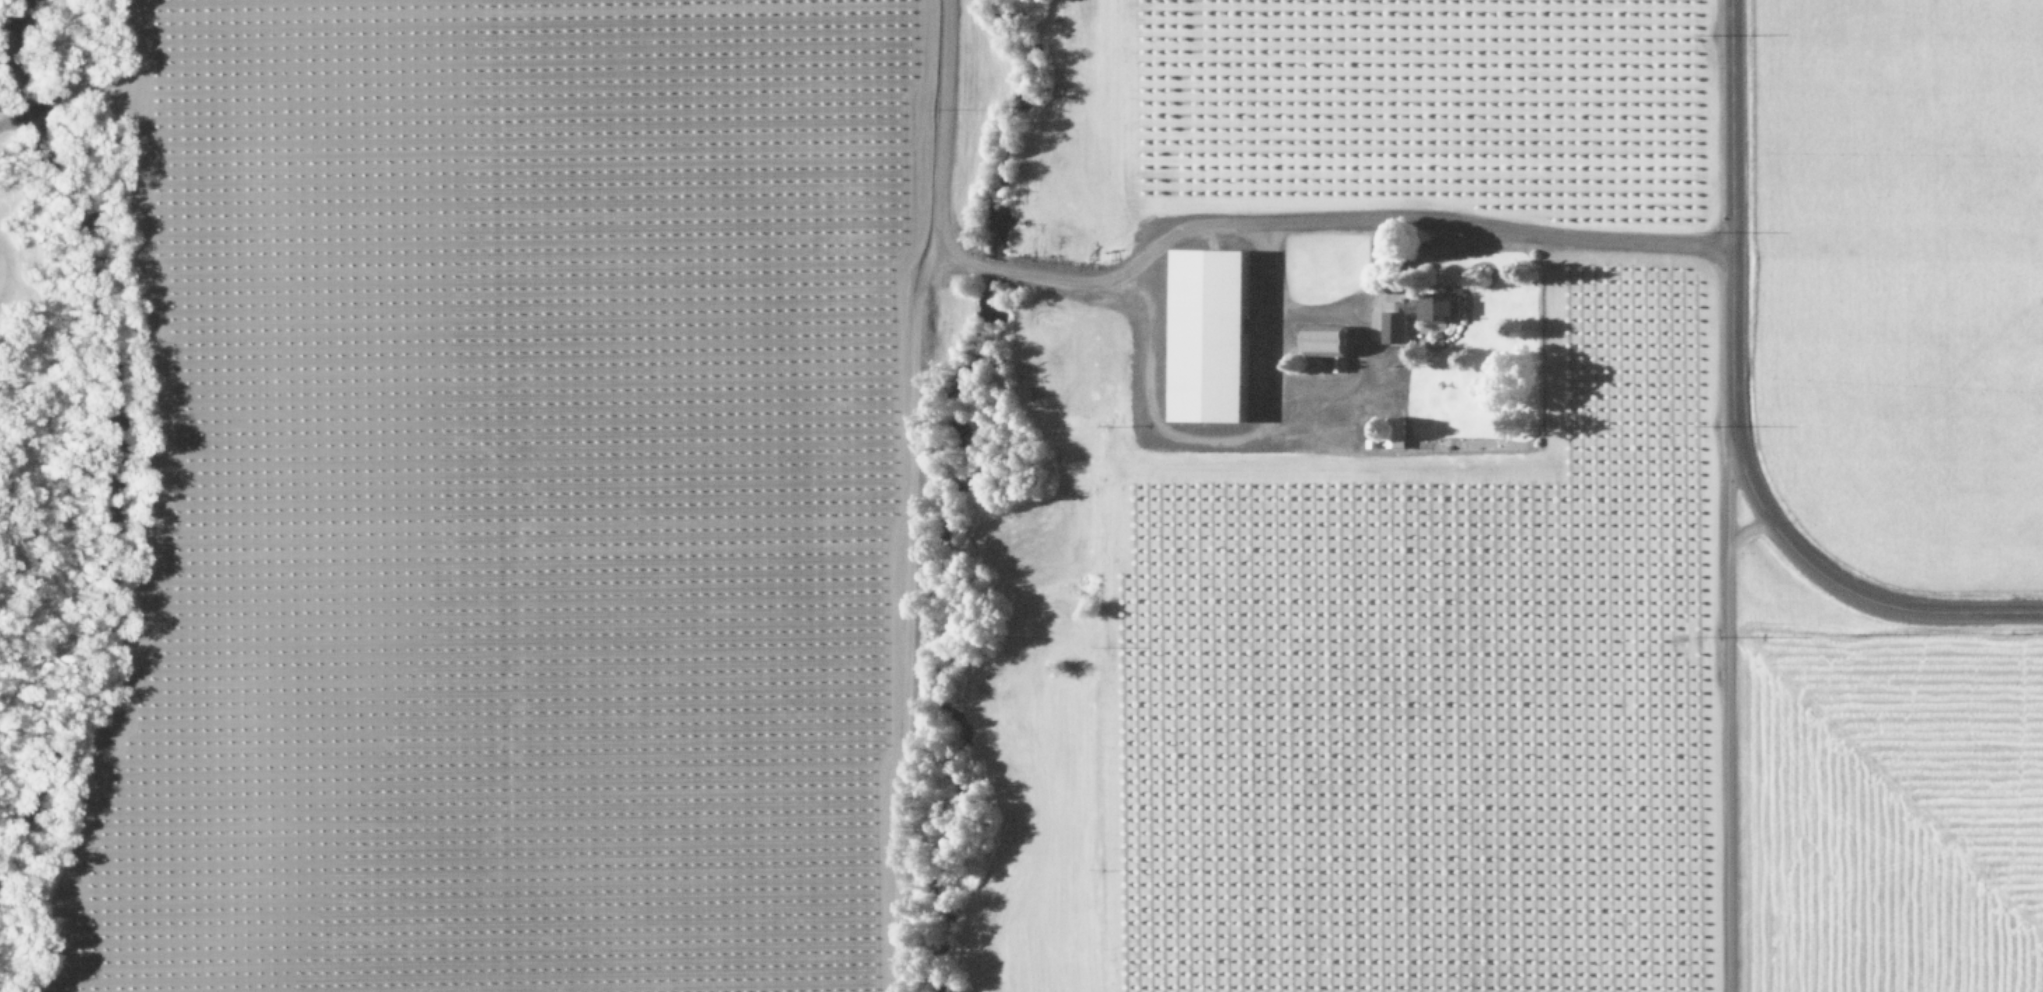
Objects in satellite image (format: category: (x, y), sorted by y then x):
building: (1420, 314)
crop: (1566, 318)
building: (1332, 343)
road: (1728, 419)
crop: (509, 504)
road: (1728, 709)
crop: (1577, 816)

